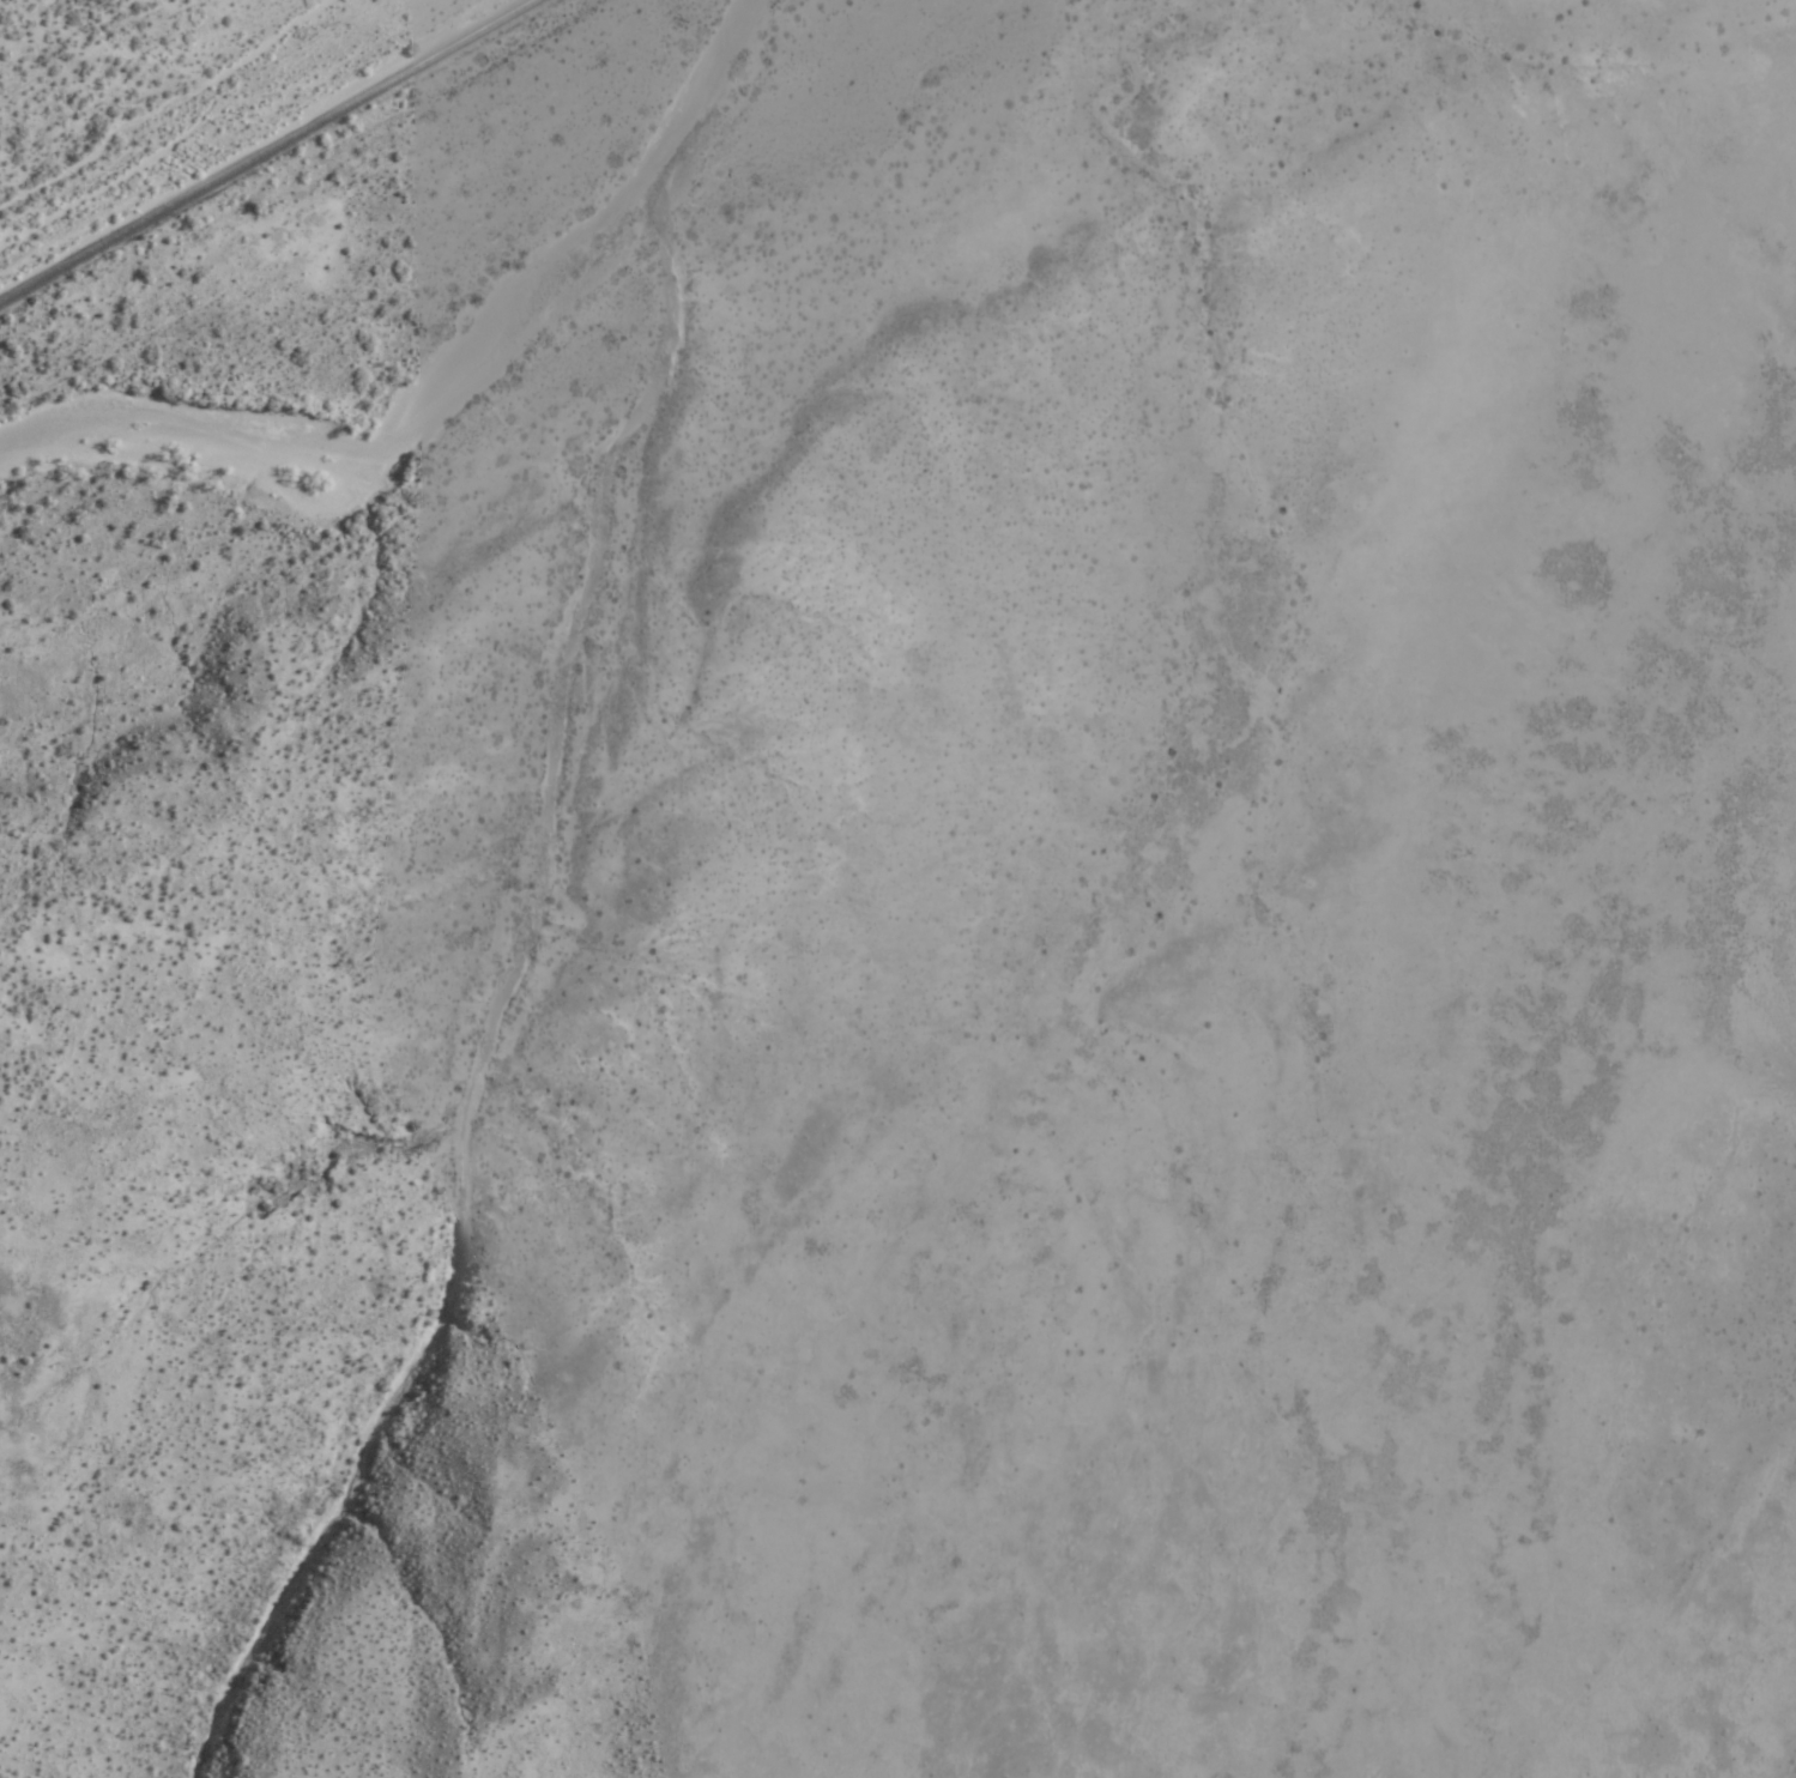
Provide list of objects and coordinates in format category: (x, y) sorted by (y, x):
railway: (260, 147)
river: (458, 387)

